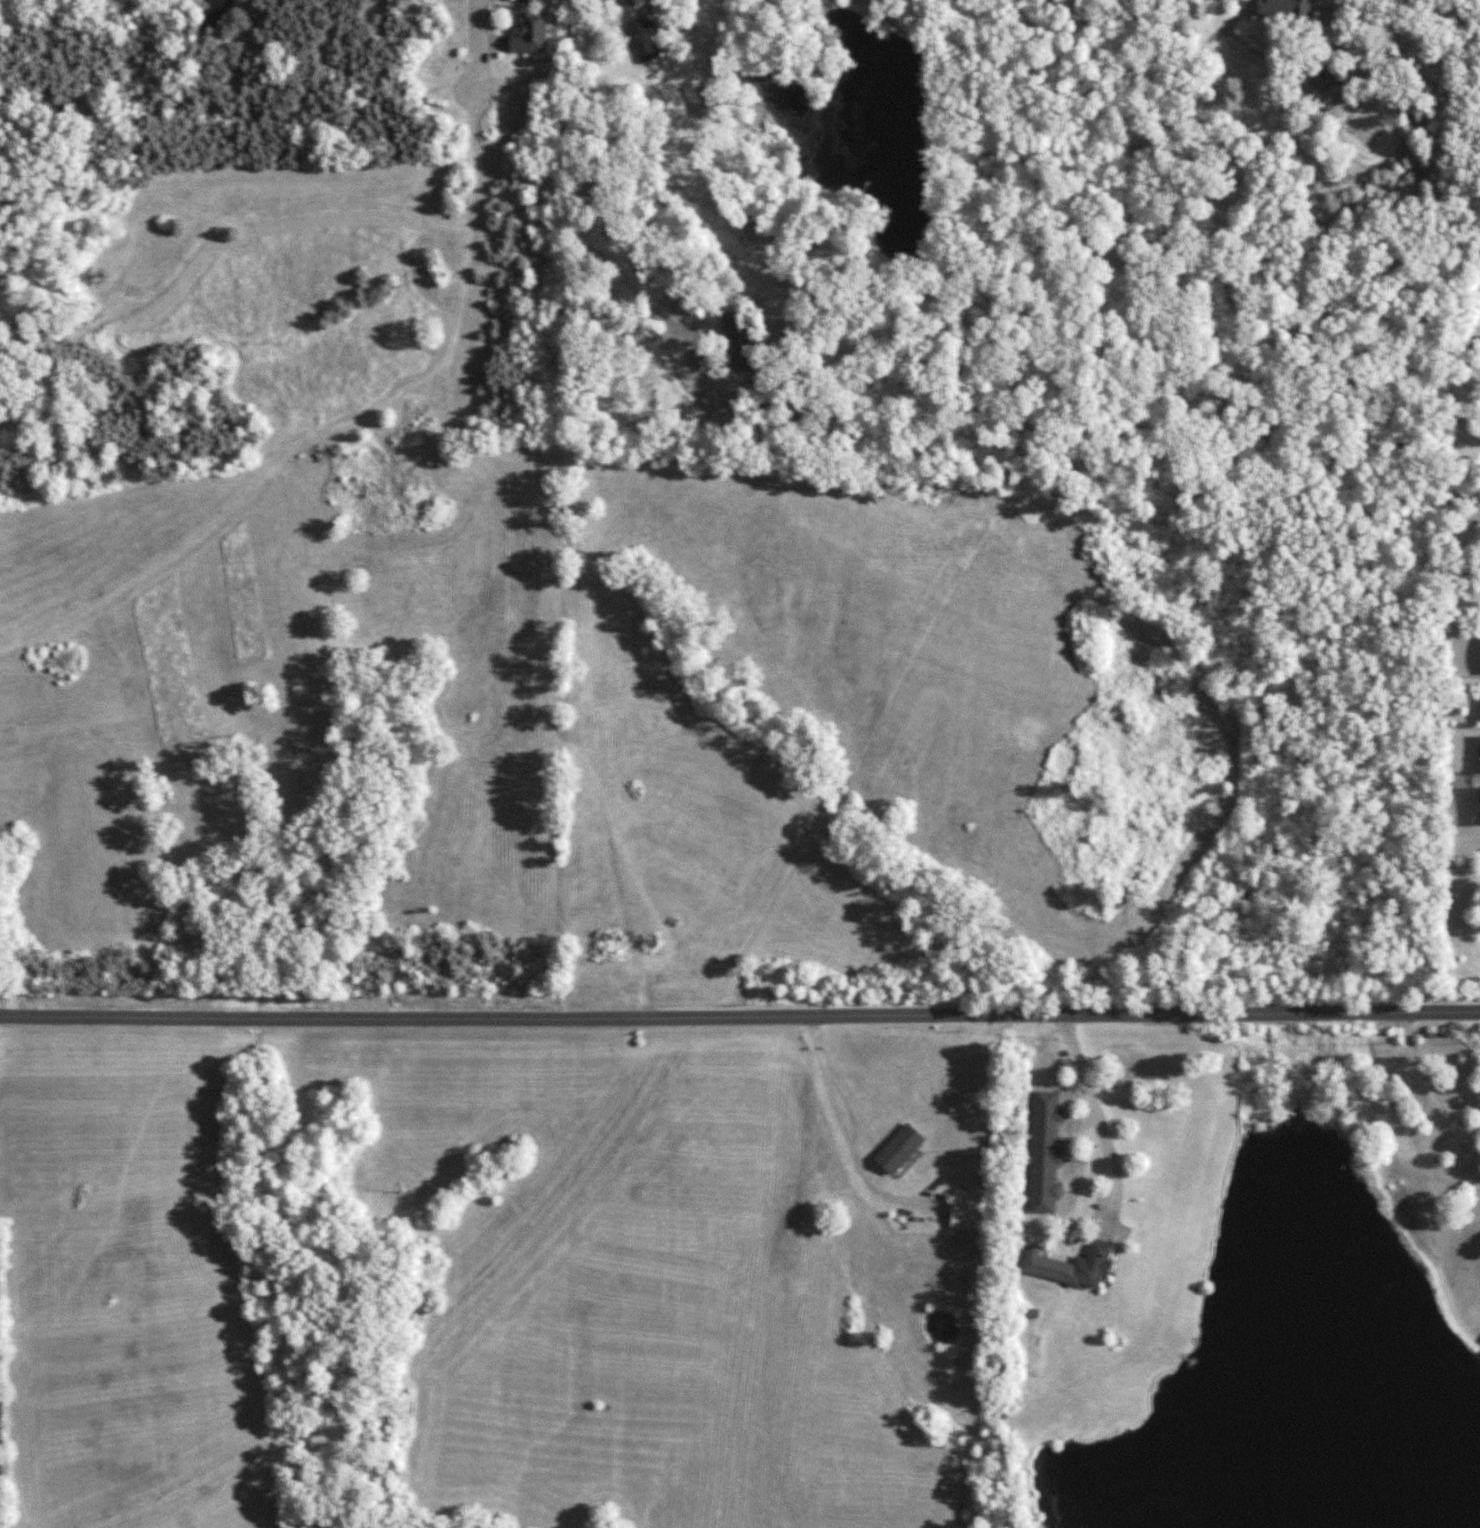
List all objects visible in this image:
building: (528, 1)
building: (1283, 8)
building: (530, 33)
building: (643, 39)
building: (1327, 85)
road: (603, 200)
road: (487, 213)
building: (1479, 797)
road: (740, 1019)
road: (1434, 1086)
road: (1099, 1122)
building: (899, 1149)
building: (965, 1209)
building: (1071, 1265)

